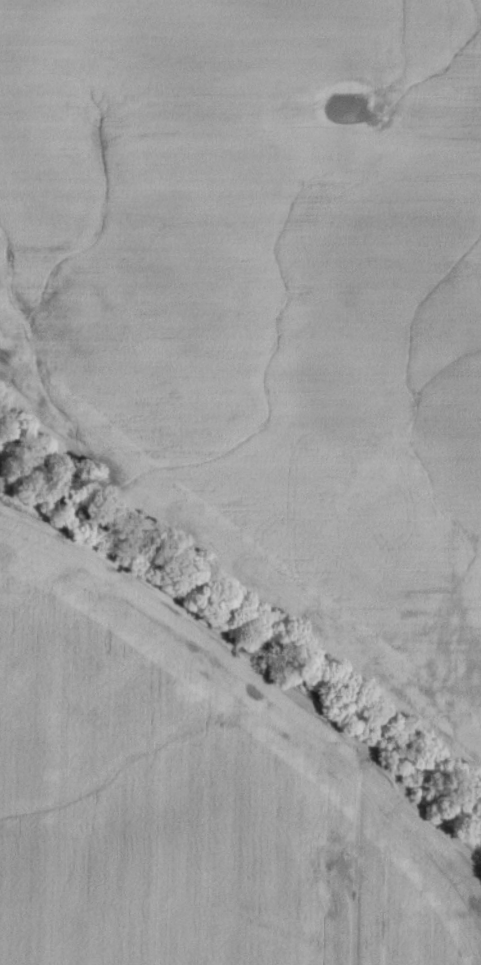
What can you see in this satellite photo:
road: (257, 662)

